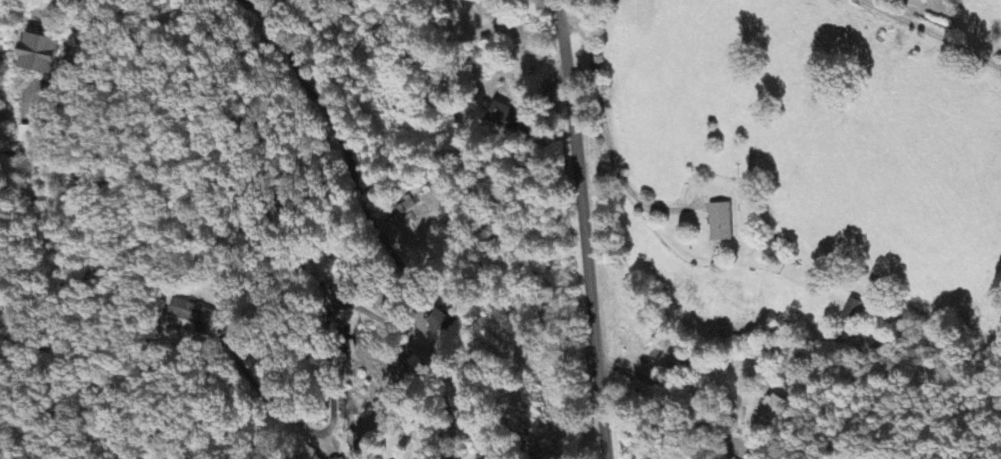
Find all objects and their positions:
road: (932, 34)
building: (37, 56)
building: (505, 118)
building: (26, 136)
building: (719, 223)
road: (376, 227)
road: (583, 229)
building: (852, 312)
building: (190, 314)
building: (440, 325)
road: (79, 393)
building: (766, 415)
road: (490, 455)
building: (341, 458)

